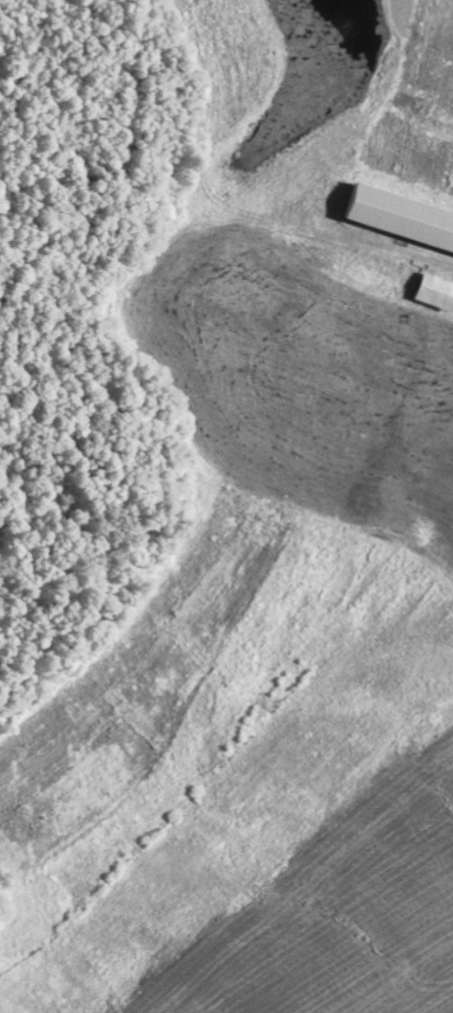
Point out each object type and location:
building: (402, 216)
building: (437, 290)

